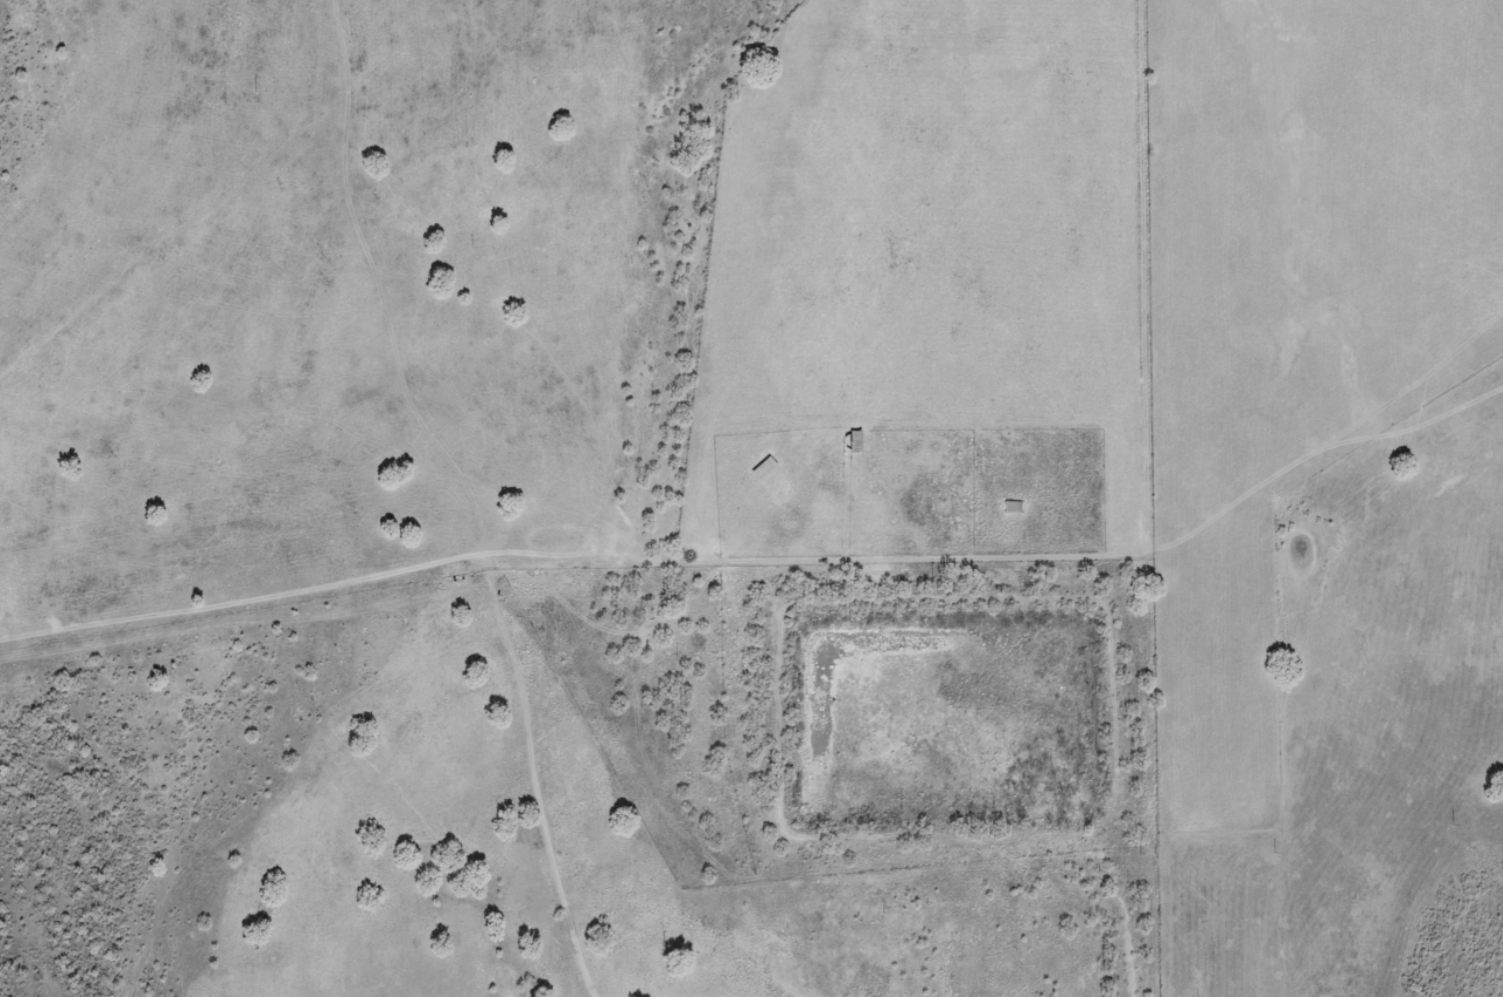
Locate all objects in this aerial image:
building: (853, 443)
building: (761, 470)
road: (456, 494)
building: (1011, 507)

